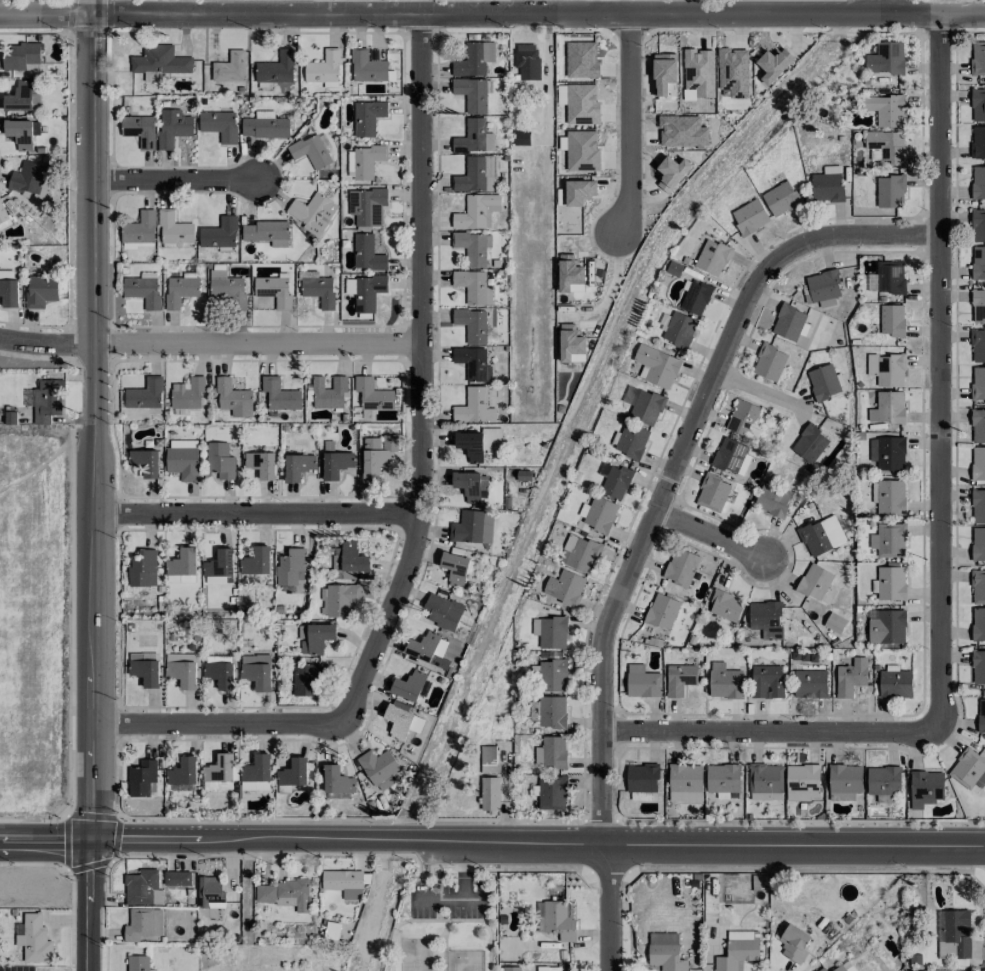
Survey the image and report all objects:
road: (607, 6)
road: (492, 13)
building: (21, 56)
building: (977, 57)
building: (885, 58)
building: (474, 59)
building: (581, 59)
building: (527, 61)
building: (159, 62)
building: (773, 64)
building: (367, 66)
building: (229, 67)
building: (323, 67)
building: (276, 68)
building: (699, 71)
building: (733, 71)
building: (663, 72)
building: (472, 93)
building: (561, 94)
building: (19, 97)
building: (581, 104)
building: (977, 105)
building: (886, 110)
building: (367, 117)
road: (626, 123)
building: (219, 125)
building: (264, 126)
building: (173, 127)
building: (139, 130)
building: (682, 131)
building: (22, 132)
building: (474, 137)
building: (521, 138)
building: (977, 141)
building: (887, 145)
building: (310, 151)
building: (582, 151)
building: (365, 161)
building: (671, 172)
building: (475, 175)
building: (27, 177)
building: (978, 181)
road: (175, 182)
building: (827, 184)
building: (579, 191)
building: (890, 191)
building: (780, 198)
building: (366, 205)
building: (474, 211)
building: (312, 212)
building: (749, 217)
building: (3, 218)
building: (977, 226)
building: (140, 228)
building: (173, 228)
building: (219, 233)
building: (266, 233)
building: (472, 247)
building: (367, 253)
building: (712, 257)
building: (978, 262)
building: (568, 273)
building: (890, 277)
road: (611, 285)
building: (823, 286)
building: (473, 287)
building: (317, 288)
building: (143, 289)
building: (227, 289)
building: (40, 290)
building: (180, 290)
building: (274, 290)
building: (9, 292)
building: (368, 292)
building: (695, 297)
building: (978, 306)
building: (891, 320)
building: (789, 322)
building: (473, 323)
building: (679, 329)
building: (570, 343)
road: (209, 345)
building: (978, 346)
road: (91, 362)
building: (769, 362)
building: (473, 363)
building: (656, 366)
building: (887, 369)
road: (940, 371)
road: (420, 375)
building: (823, 382)
building: (978, 382)
road: (762, 388)
building: (328, 392)
building: (144, 394)
building: (279, 394)
building: (372, 394)
building: (186, 395)
road: (759, 395)
building: (233, 398)
building: (47, 400)
building: (644, 405)
building: (474, 406)
building: (888, 408)
building: (742, 417)
building: (978, 426)
building: (629, 440)
building: (477, 443)
building: (809, 443)
building: (888, 452)
building: (377, 454)
building: (729, 455)
building: (183, 460)
building: (220, 460)
building: (144, 462)
building: (978, 463)
building: (261, 464)
building: (335, 464)
road: (678, 465)
building: (297, 466)
building: (614, 480)
building: (470, 485)
building: (712, 493)
building: (888, 496)
building: (772, 500)
building: (978, 506)
building: (600, 514)
road: (255, 517)
building: (472, 527)
building: (821, 535)
road: (712, 537)
building: (888, 540)
building: (978, 544)
building: (580, 554)
building: (353, 558)
building: (256, 561)
building: (336, 562)
building: (218, 563)
building: (182, 567)
building: (290, 567)
building: (680, 567)
building: (142, 568)
building: (455, 568)
building: (217, 580)
building: (814, 581)
building: (889, 583)
building: (978, 586)
building: (565, 587)
building: (339, 599)
building: (725, 606)
building: (442, 611)
building: (662, 611)
building: (766, 618)
building: (834, 622)
building: (978, 624)
building: (887, 627)
building: (550, 632)
building: (315, 637)
building: (426, 649)
building: (978, 667)
building: (182, 669)
building: (256, 671)
building: (145, 672)
building: (552, 672)
building: (220, 674)
building: (850, 677)
building: (679, 679)
building: (724, 679)
building: (306, 680)
building: (641, 681)
building: (766, 681)
building: (810, 683)
building: (894, 684)
building: (411, 686)
building: (552, 711)
building: (981, 715)
building: (398, 721)
road: (220, 724)
road: (770, 731)
building: (551, 752)
building: (488, 760)
building: (256, 768)
building: (379, 768)
building: (968, 769)
building: (182, 772)
building: (218, 773)
building: (293, 773)
building: (642, 777)
building: (141, 778)
building: (722, 779)
building: (337, 780)
building: (883, 780)
building: (844, 781)
building: (765, 782)
building: (802, 782)
building: (684, 783)
road: (93, 785)
building: (255, 785)
building: (925, 788)
building: (552, 793)
building: (489, 794)
building: (640, 795)
road: (46, 845)
road: (539, 846)
traffic signals: (93, 847)
road: (463, 872)
building: (176, 878)
building: (343, 882)
building: (140, 886)
building: (210, 890)
building: (191, 891)
building: (284, 894)
road: (446, 898)
road: (610, 908)
road: (91, 909)
park: (448, 920)
building: (558, 920)
building: (157, 922)
building: (138, 924)
building: (954, 935)
building: (34, 939)
building: (794, 943)
building: (665, 951)
building: (737, 954)
building: (138, 963)
building: (844, 967)
building: (511, 968)
building: (822, 969)

